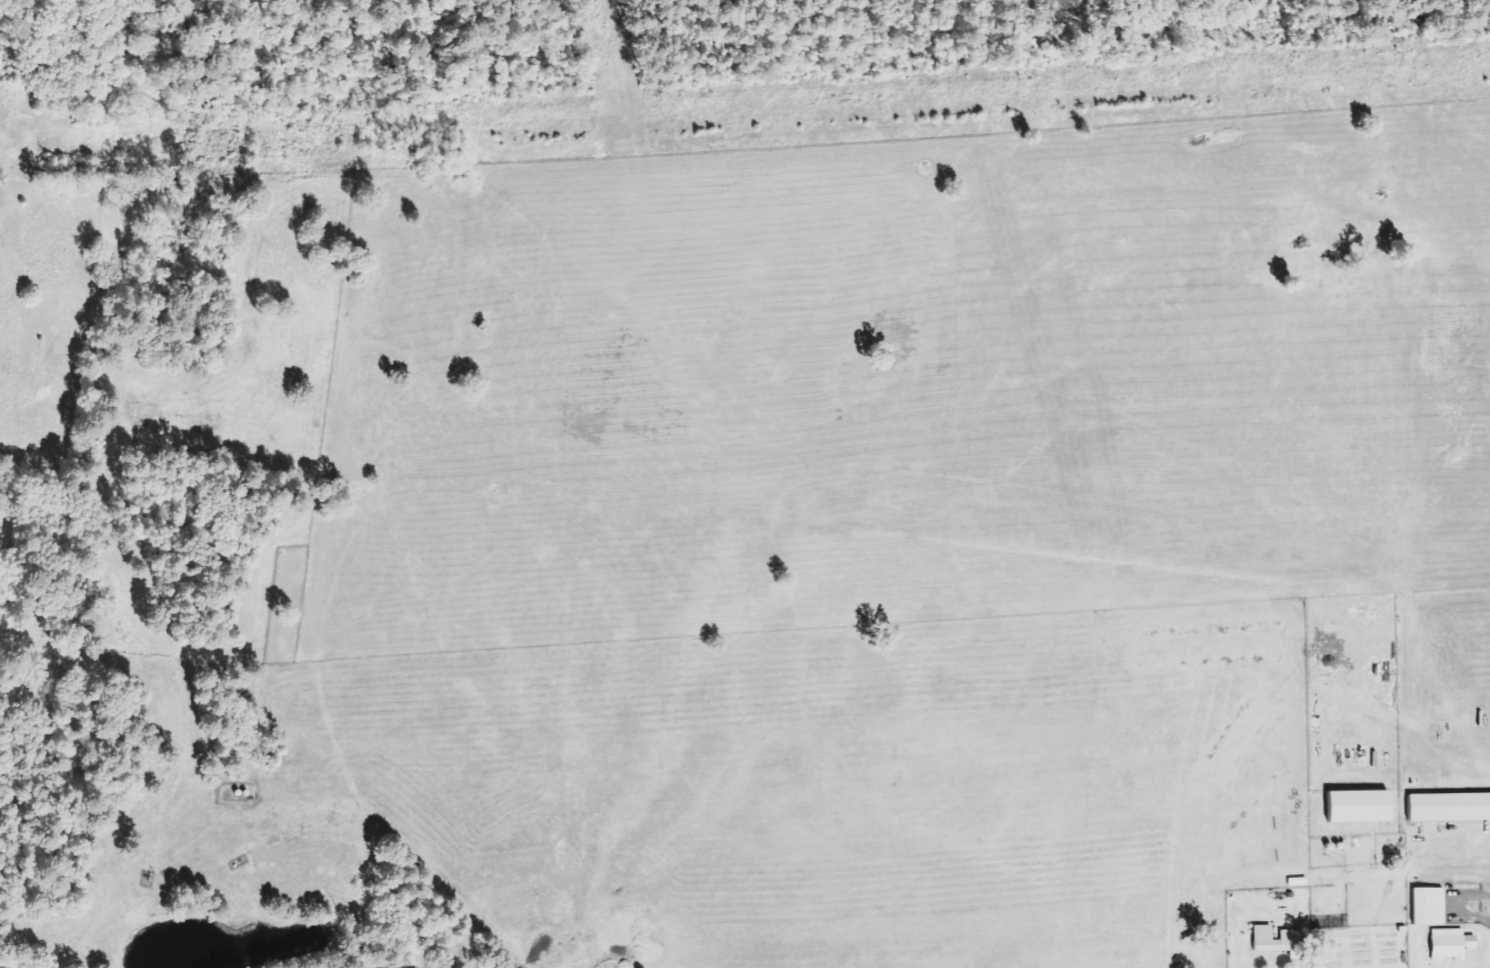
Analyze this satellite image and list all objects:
building: (1353, 805)
building: (1445, 806)
building: (1423, 905)
building: (1284, 934)
building: (1443, 943)

